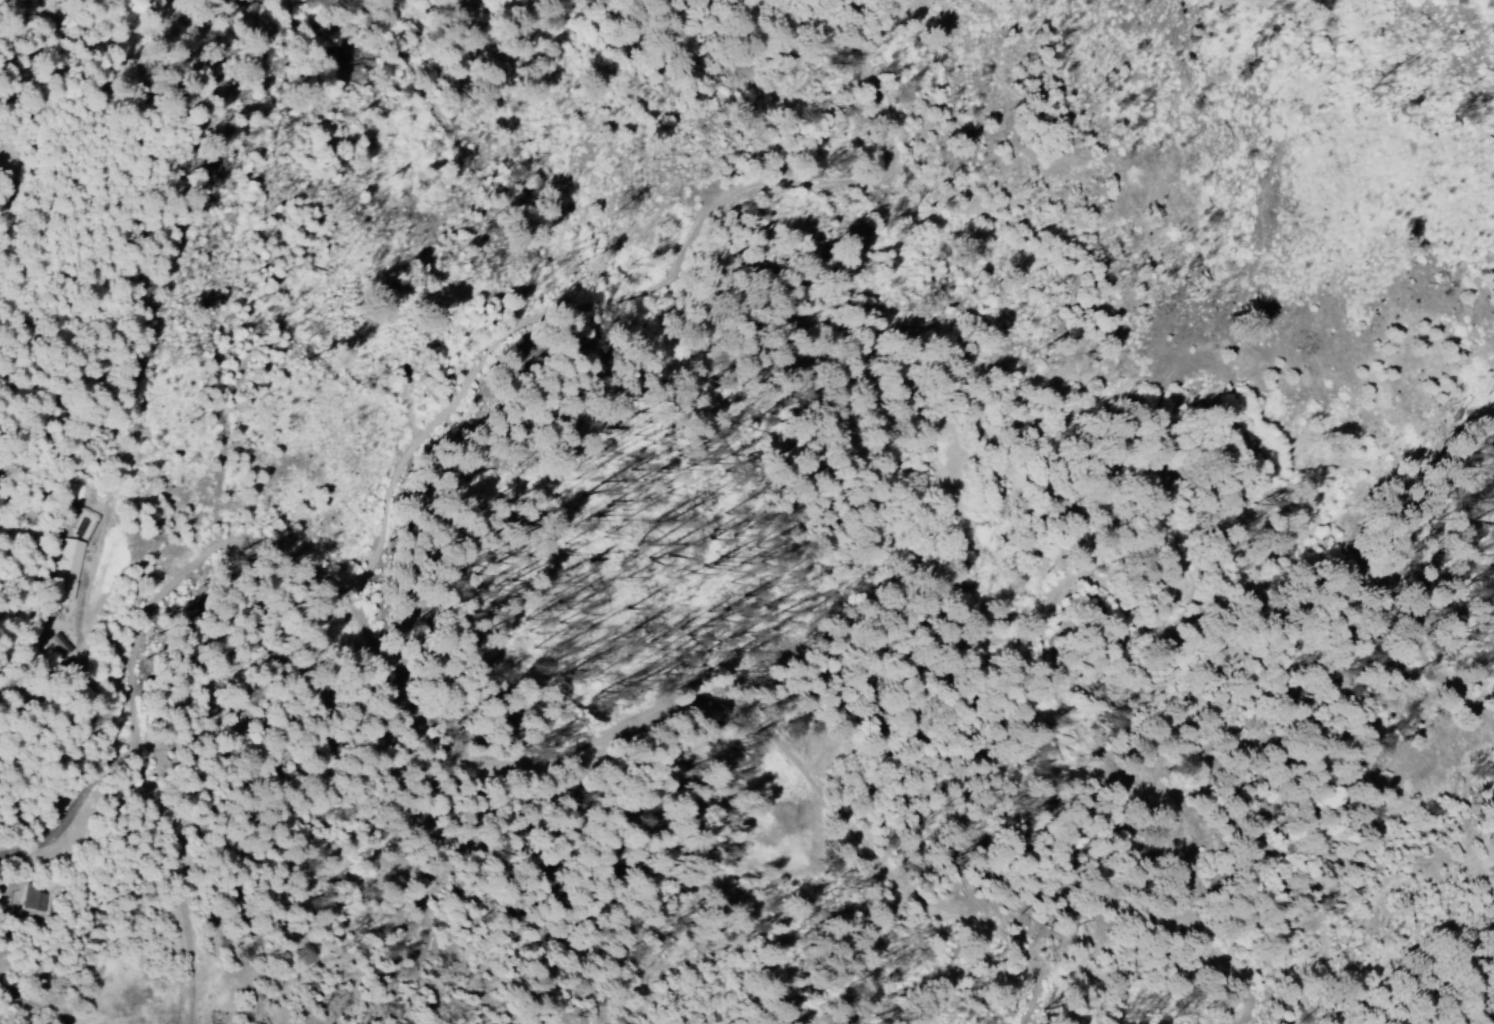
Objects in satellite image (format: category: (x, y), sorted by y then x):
road: (22, 114)
road: (472, 443)
building: (63, 570)
building: (24, 901)
road: (13, 1012)

